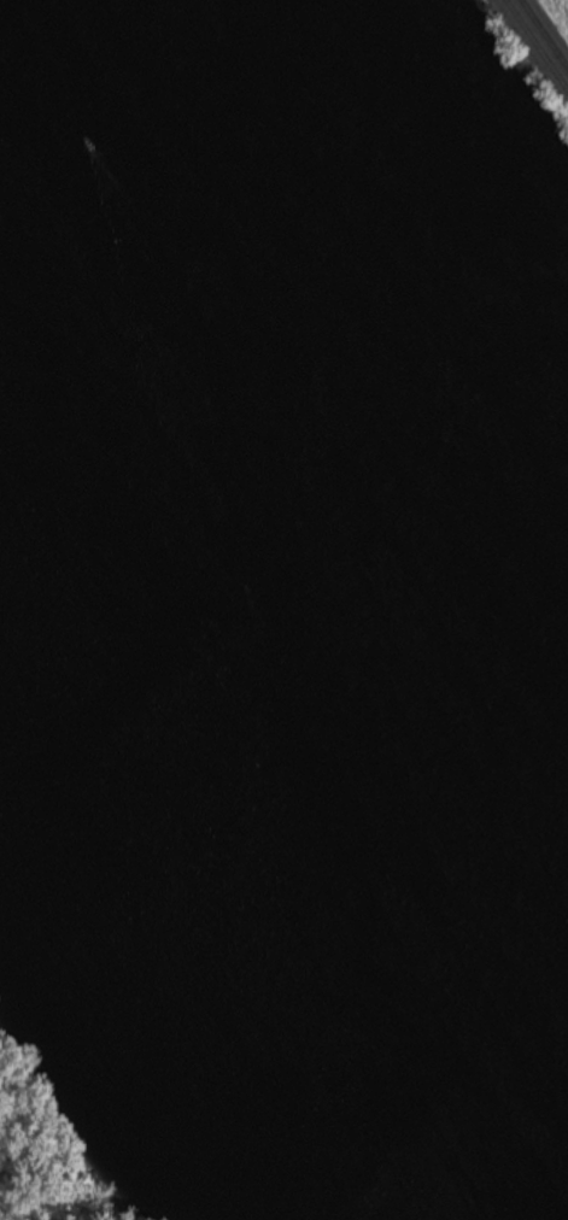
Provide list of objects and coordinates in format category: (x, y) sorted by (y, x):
railway: (546, 30)
railway: (539, 41)
river: (273, 582)

